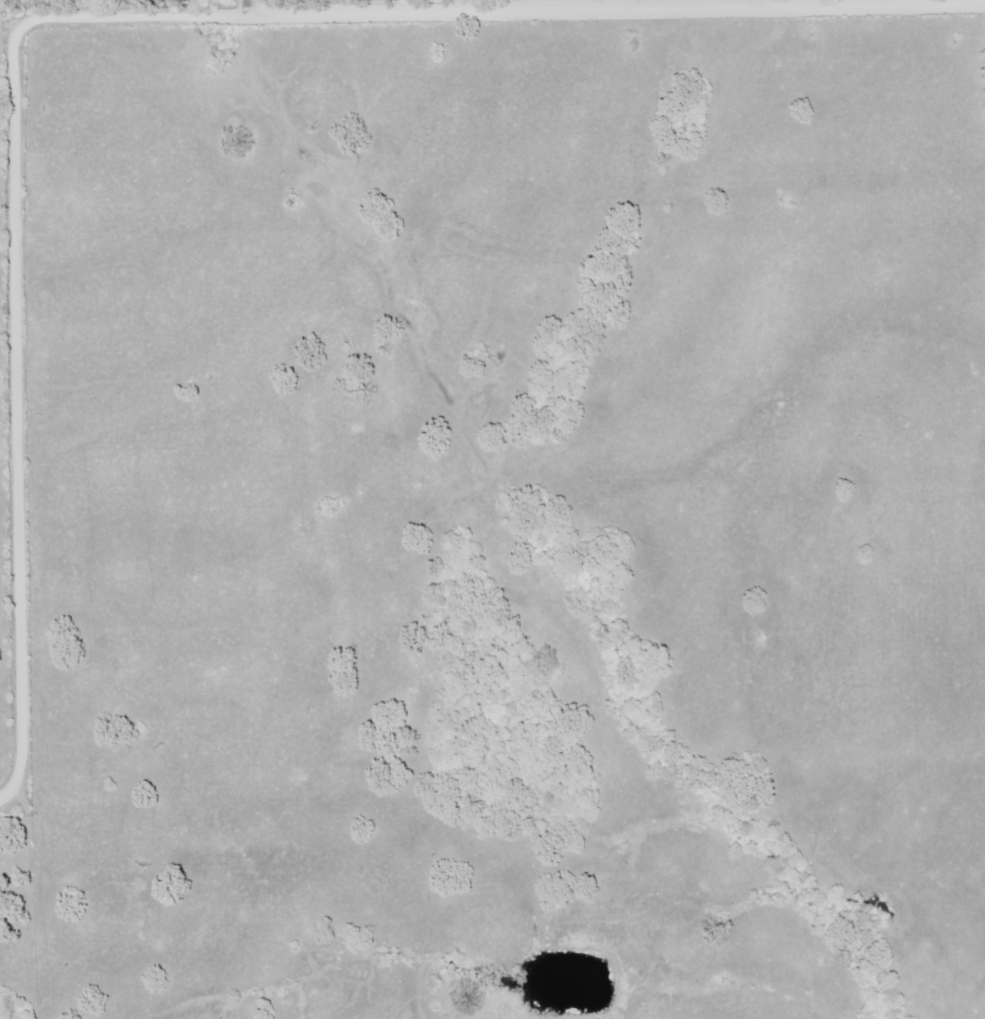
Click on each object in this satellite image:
road: (762, 3)
road: (248, 7)
road: (111, 17)
road: (0, 800)

